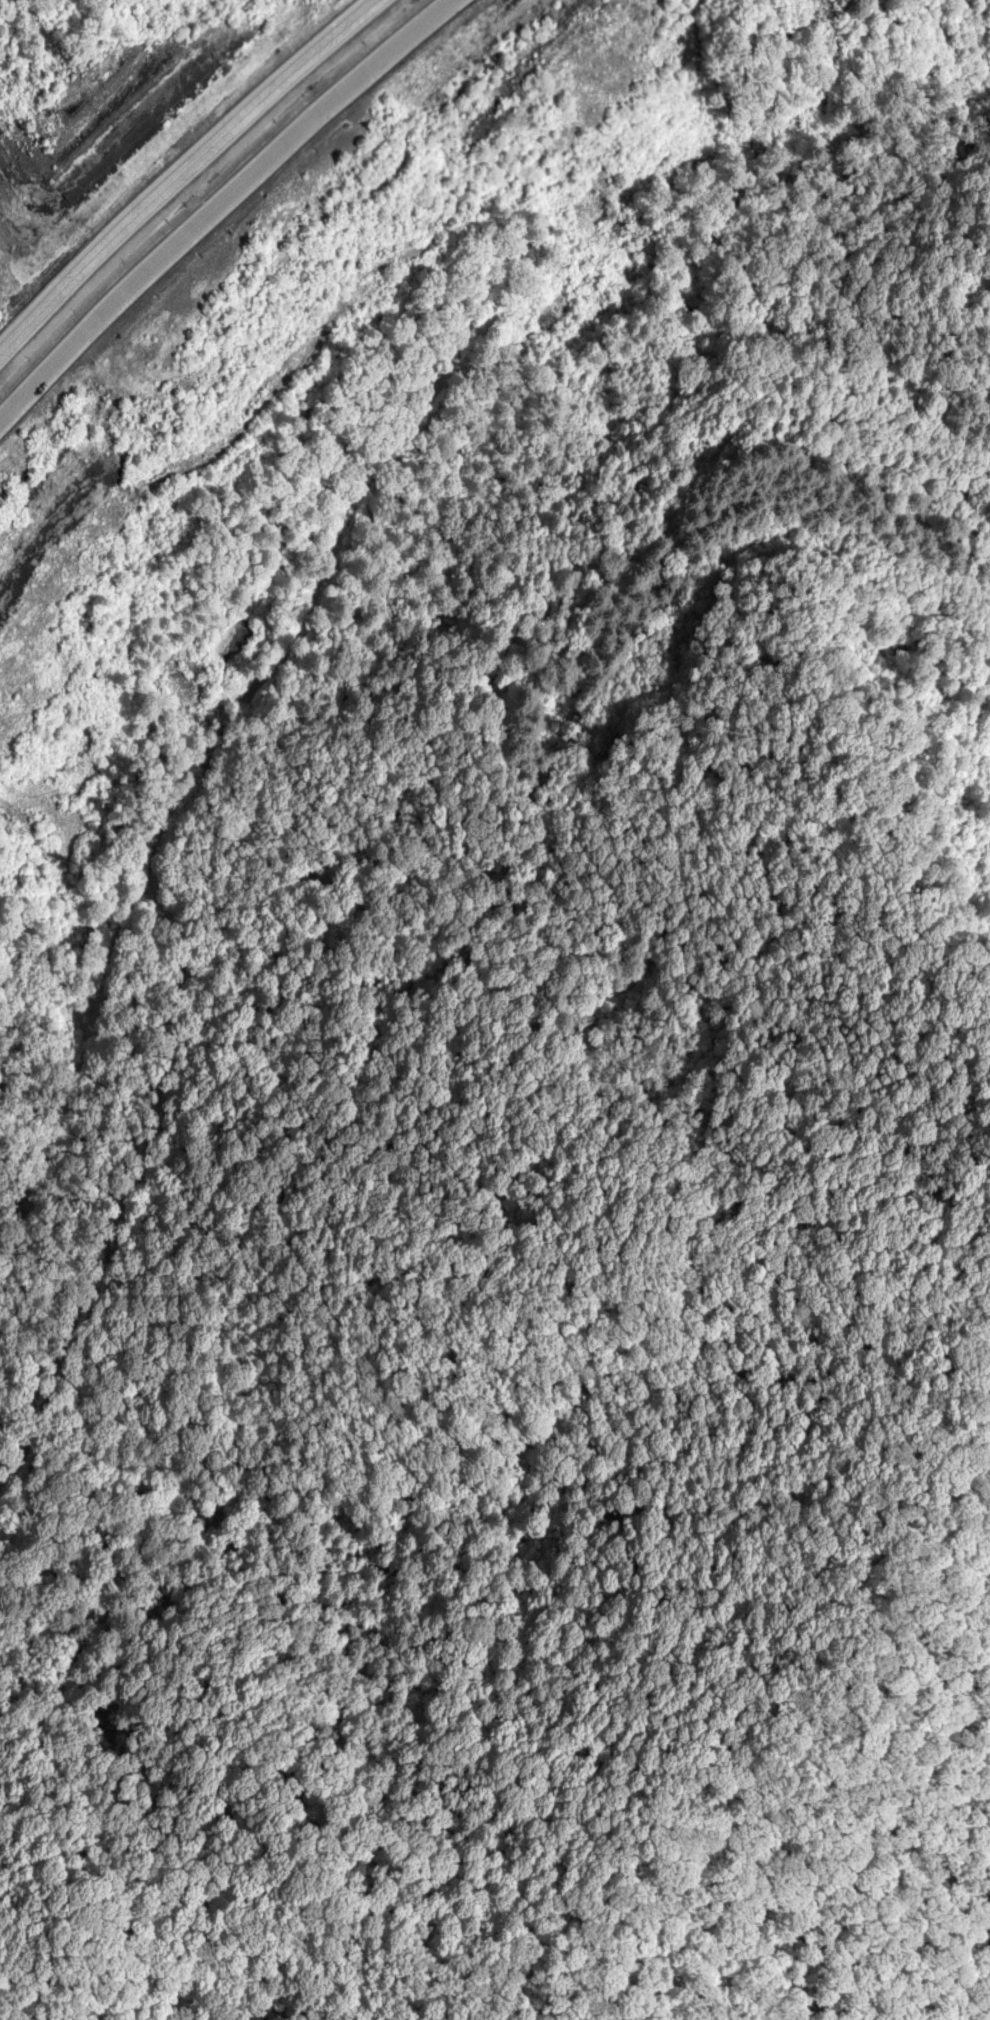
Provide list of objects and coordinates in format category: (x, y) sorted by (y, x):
road: (193, 177)
road: (220, 204)

